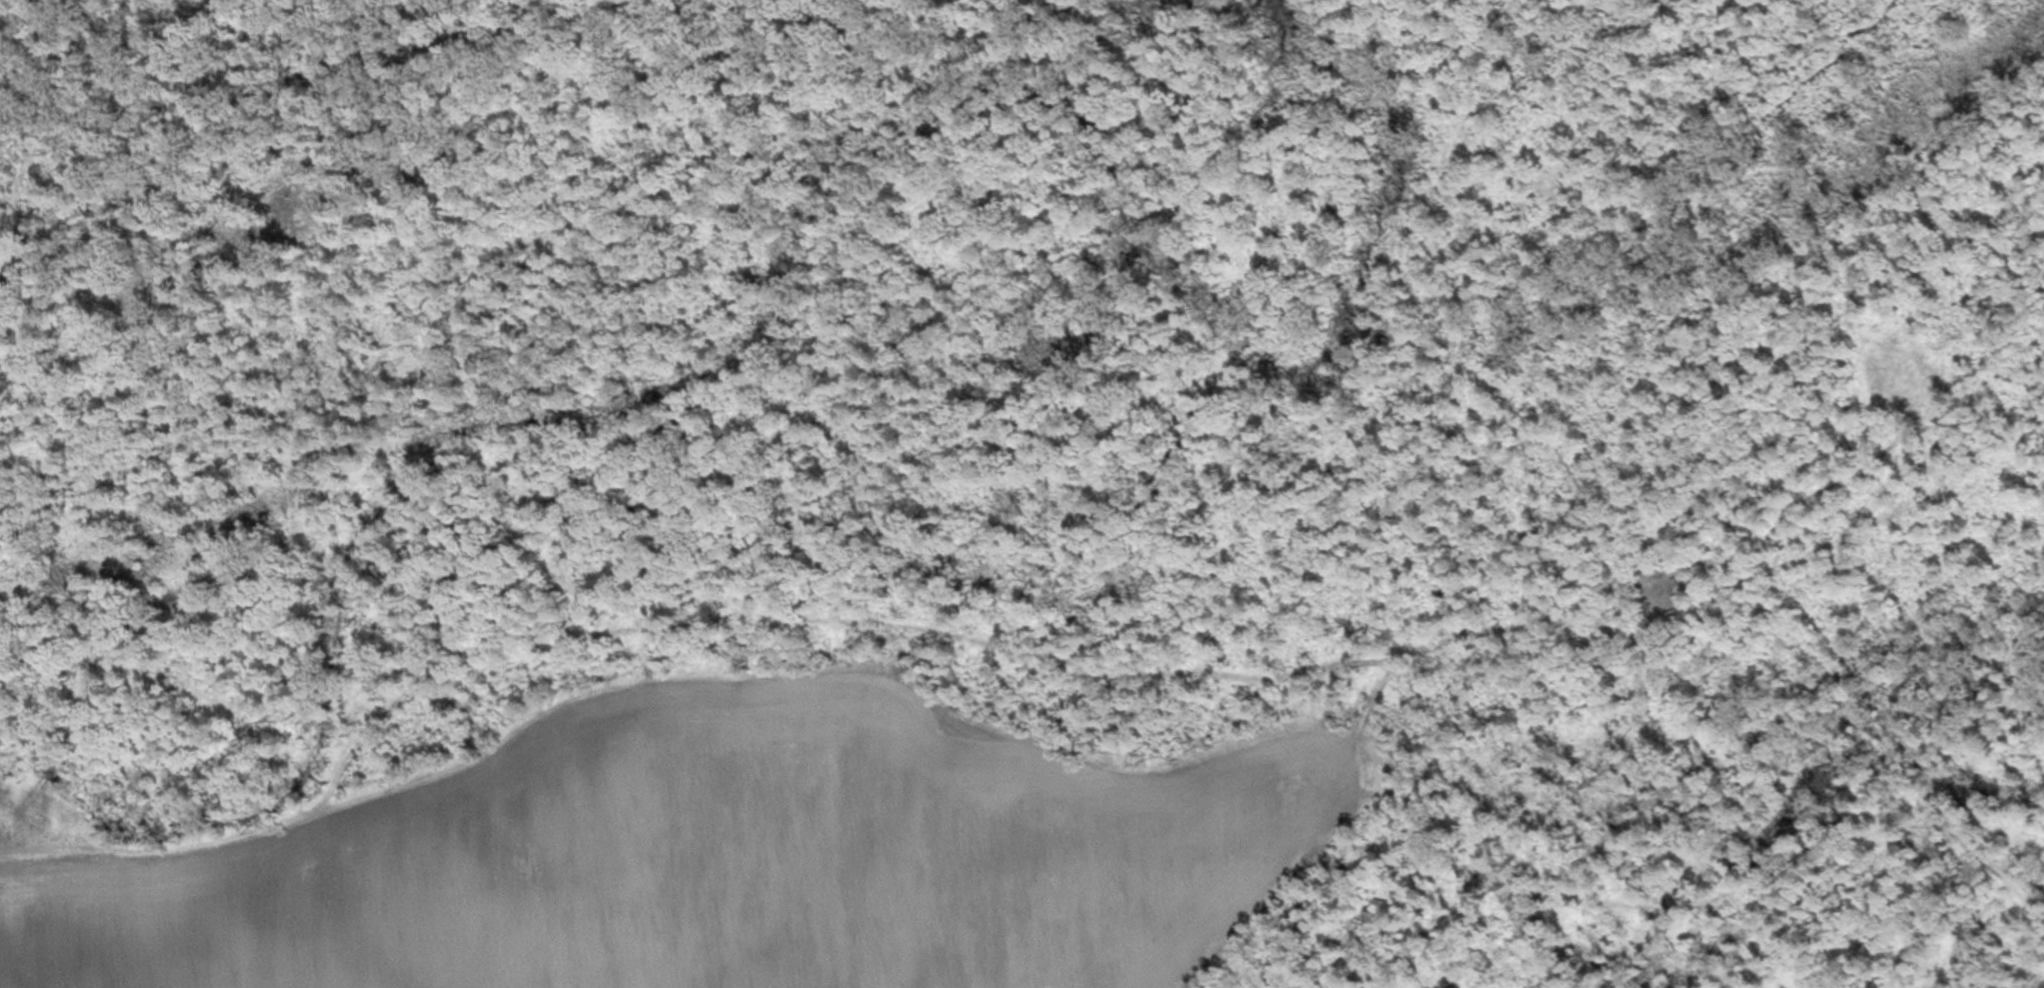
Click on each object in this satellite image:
road: (464, 212)

